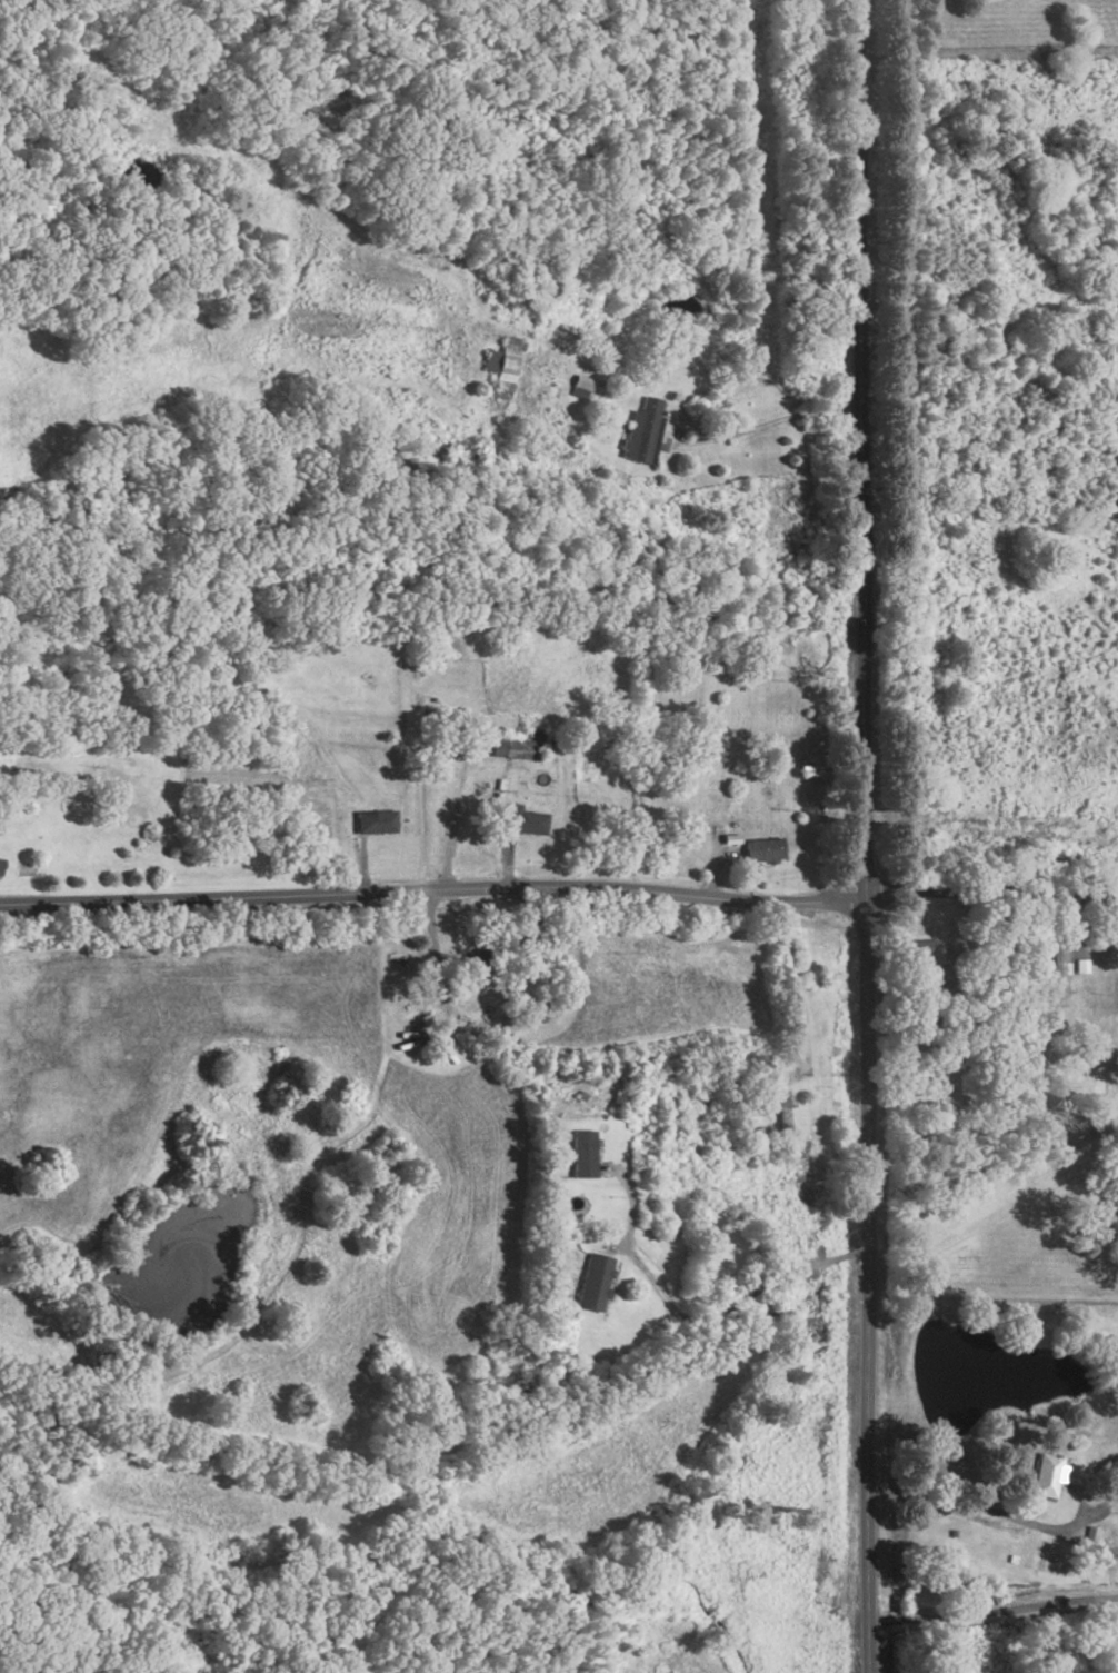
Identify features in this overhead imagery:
building: (503, 368)
building: (587, 388)
road: (767, 424)
building: (639, 434)
building: (516, 747)
building: (373, 823)
building: (523, 823)
road: (497, 829)
road: (865, 836)
building: (760, 850)
building: (0, 866)
road: (362, 868)
road: (559, 887)
building: (915, 949)
building: (1080, 965)
building: (472, 967)
building: (1054, 976)
building: (579, 1155)
building: (589, 1284)
road: (692, 1321)
building: (1044, 1477)
road: (994, 1514)
road: (992, 1612)

